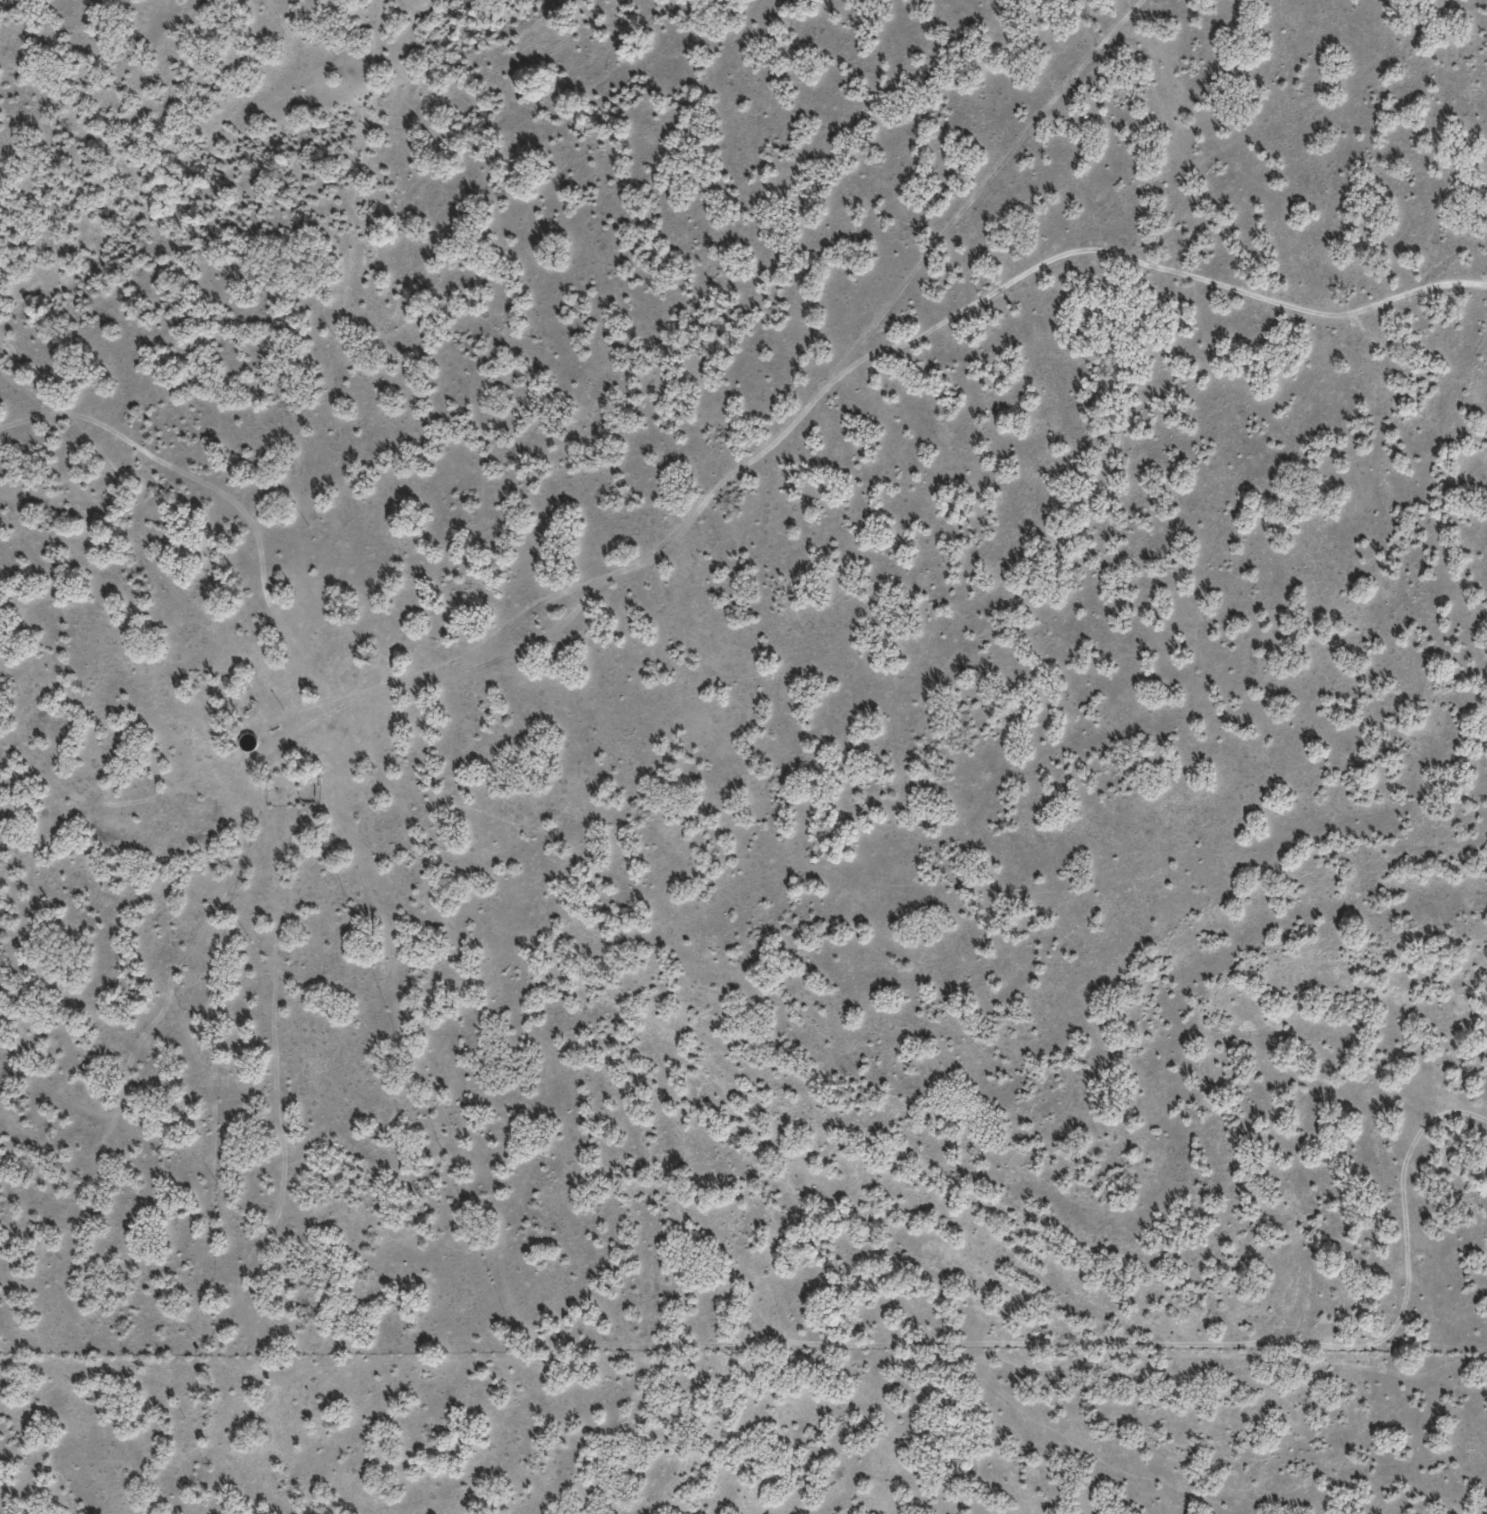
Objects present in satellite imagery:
road: (2, 12)
road: (703, 511)

